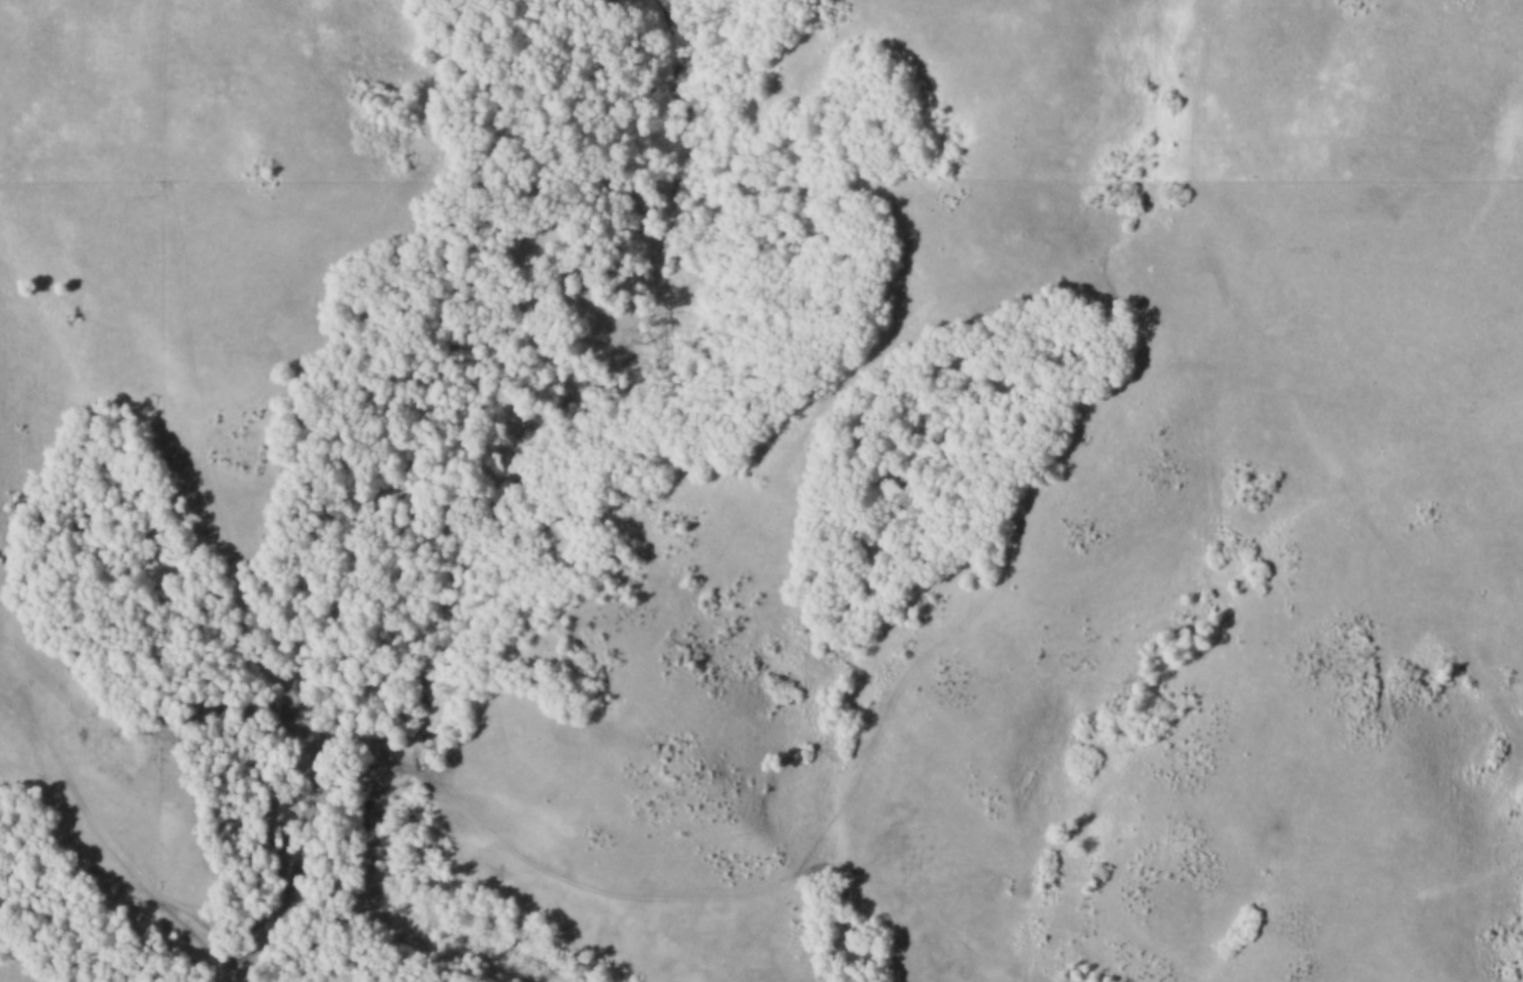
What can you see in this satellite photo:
road: (1206, 107)
road: (558, 876)

